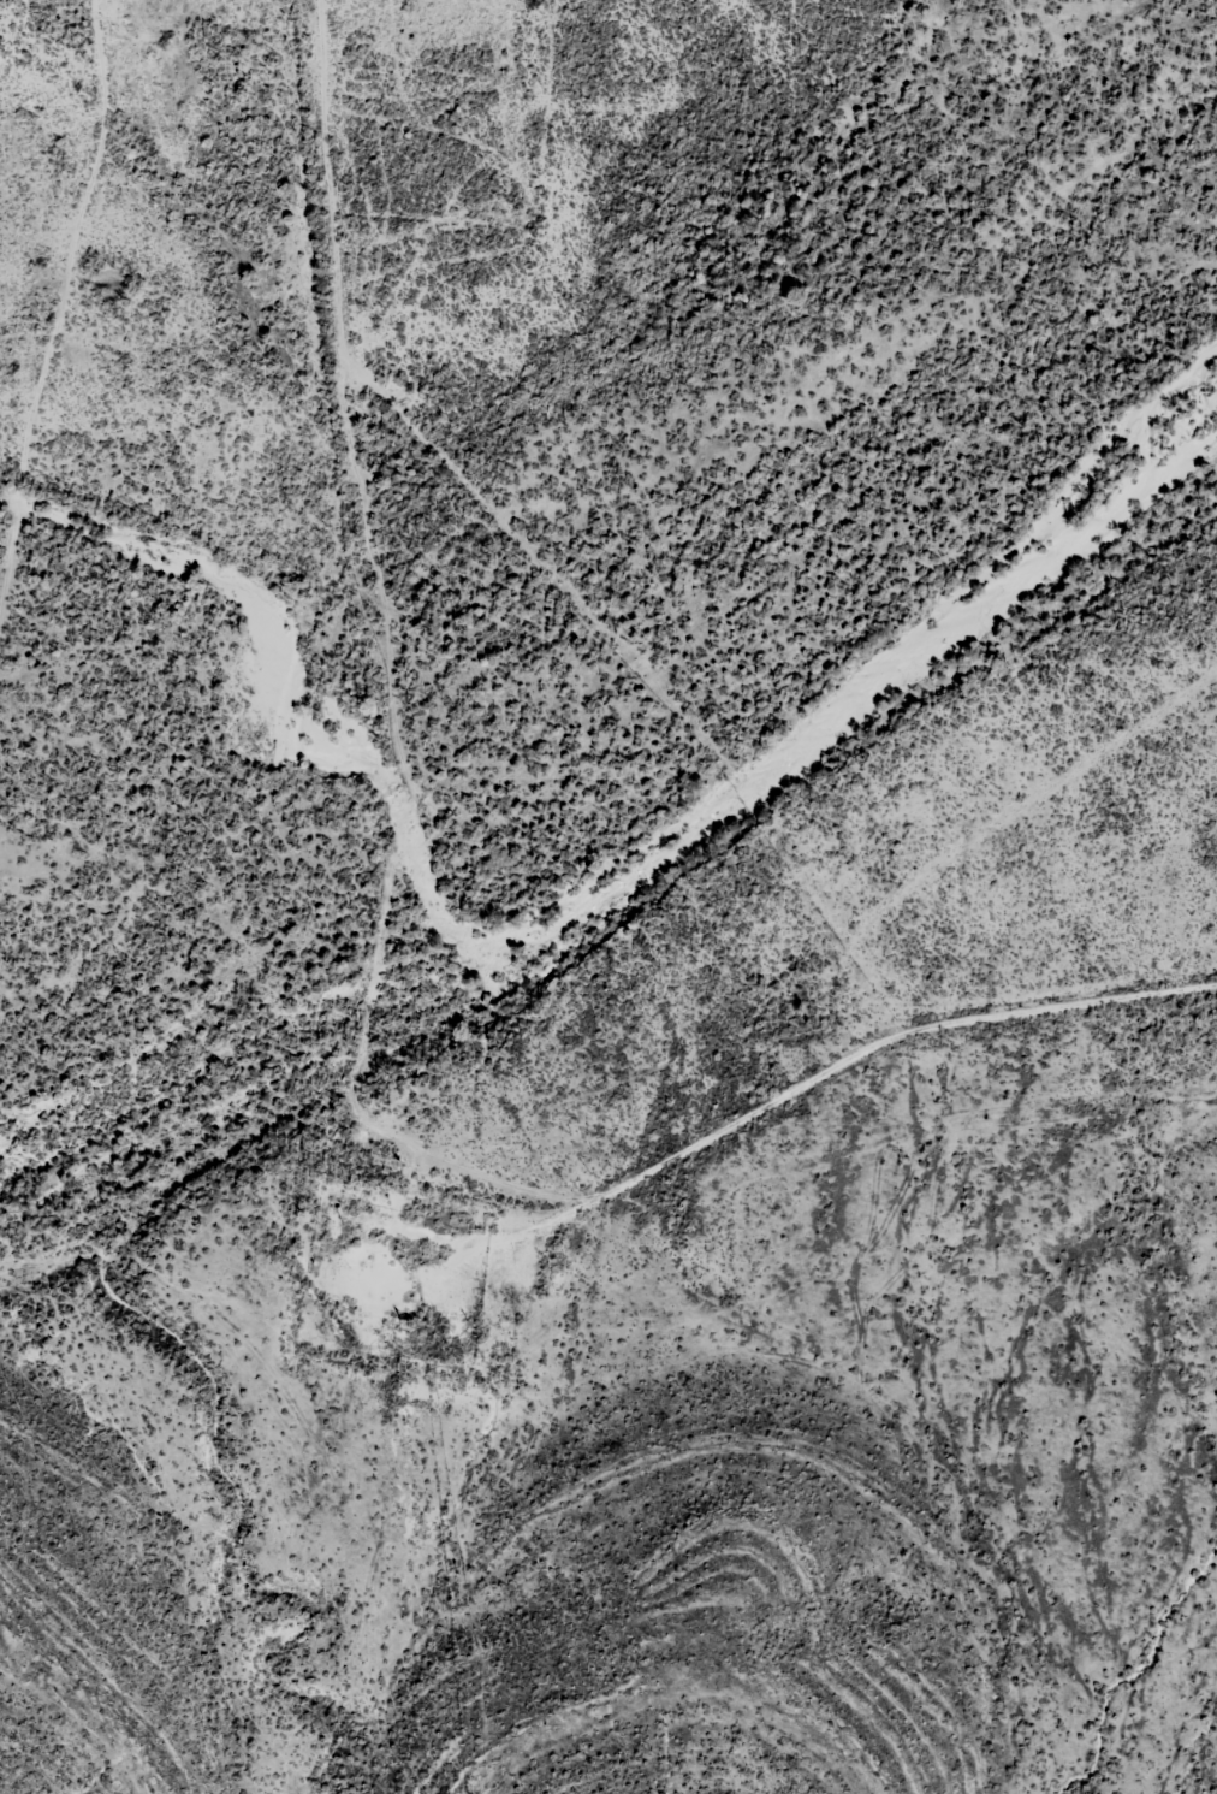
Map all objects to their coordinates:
road: (18, 2)
road: (55, 283)

